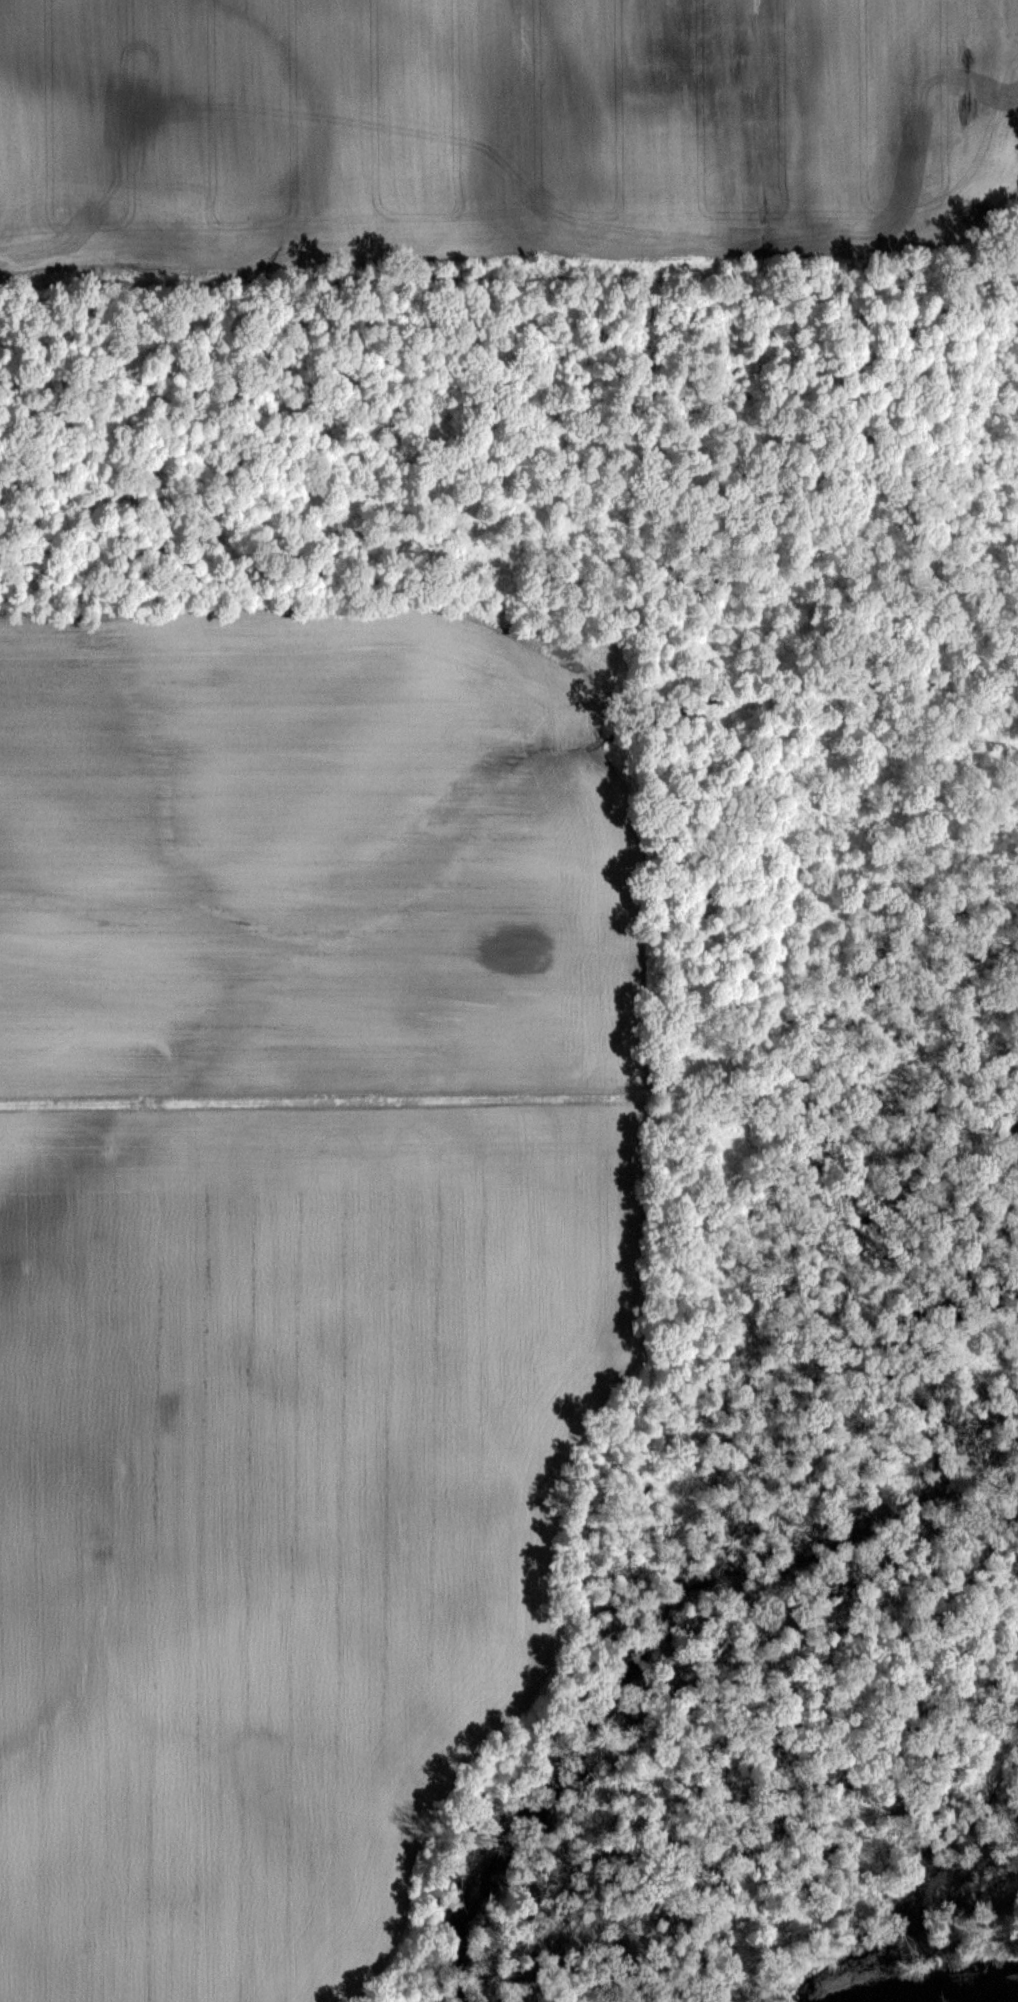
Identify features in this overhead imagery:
river: (987, 1994)

